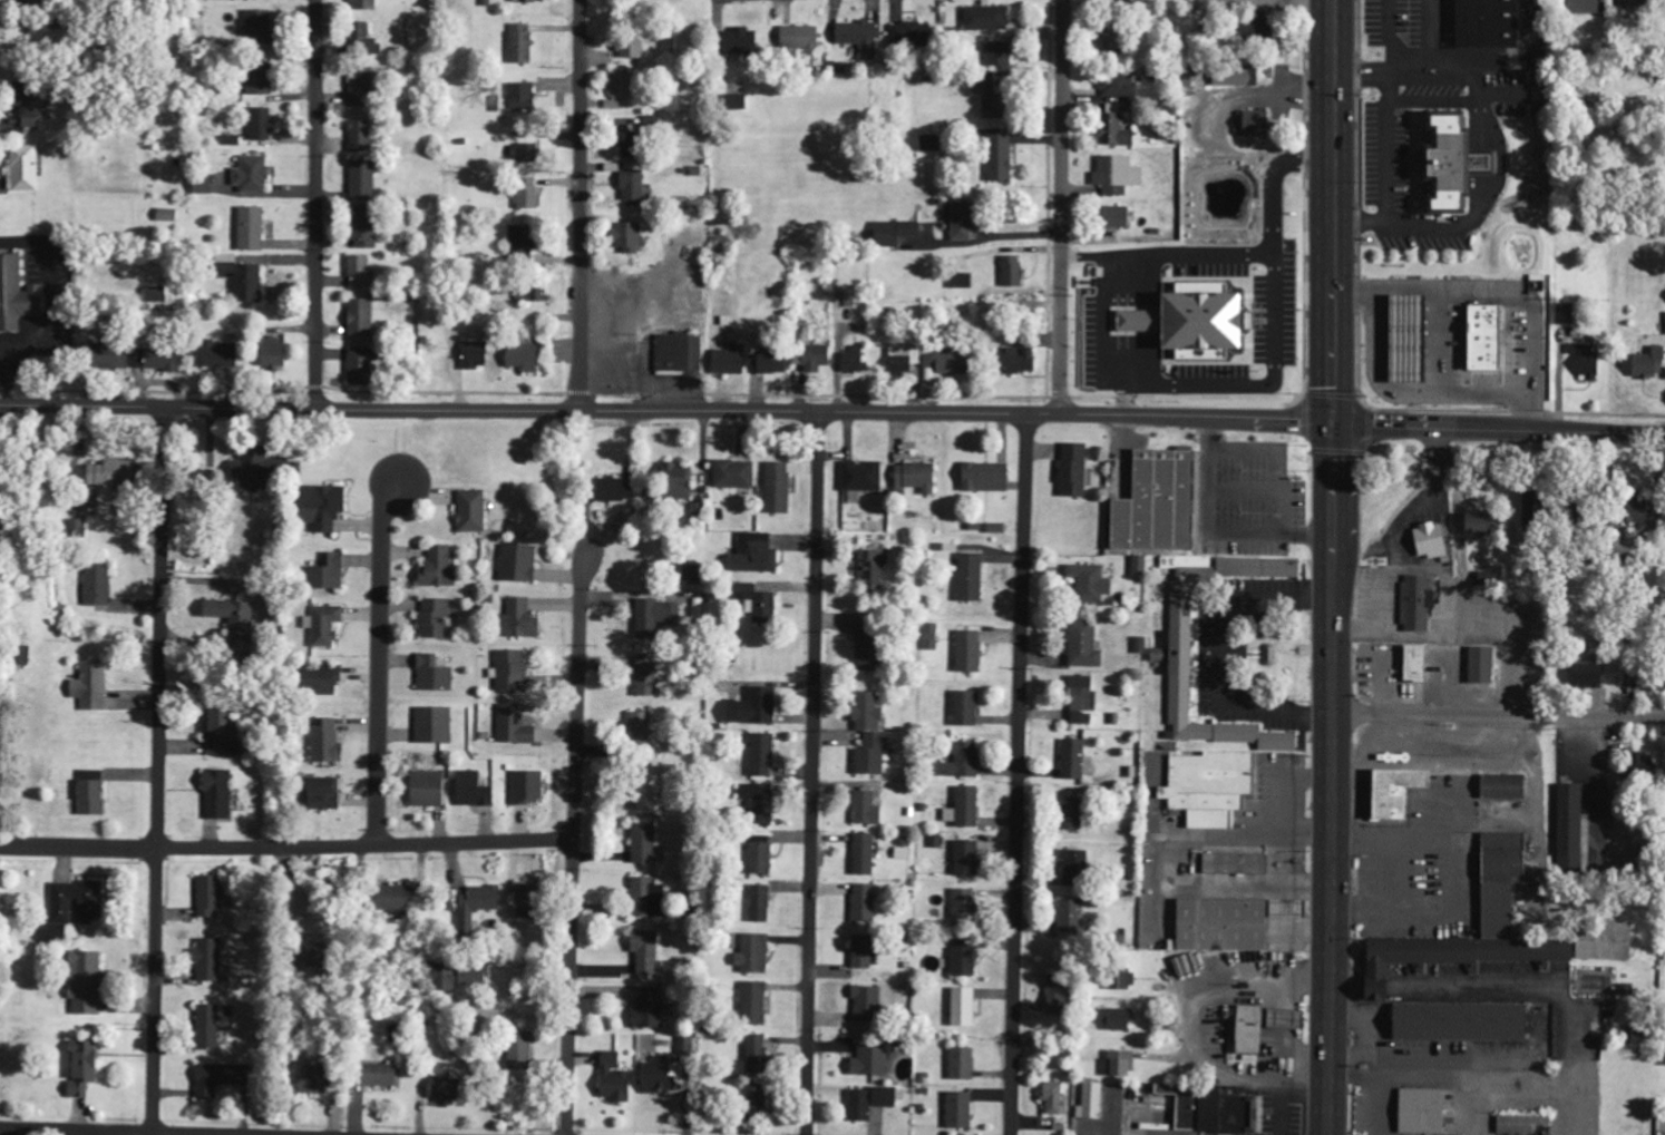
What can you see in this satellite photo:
building: (646, 0)
building: (1114, 0)
building: (527, 1)
building: (4, 3)
building: (1624, 3)
building: (366, 6)
building: (1579, 7)
building: (985, 19)
building: (260, 28)
building: (1249, 29)
building: (854, 31)
building: (913, 36)
building: (801, 37)
building: (366, 41)
building: (1110, 41)
building: (2, 45)
building: (522, 47)
building: (632, 50)
building: (997, 53)
building: (1240, 76)
building: (261, 84)
building: (1116, 85)
building: (626, 88)
building: (361, 90)
building: (986, 92)
building: (523, 99)
building: (739, 104)
building: (35, 105)
building: (1248, 124)
building: (262, 125)
building: (361, 137)
building: (927, 143)
building: (635, 147)
building: (996, 157)
building: (1444, 163)
building: (25, 169)
building: (253, 174)
building: (1116, 175)
building: (364, 180)
building: (635, 189)
building: (532, 198)
road: (314, 205)
road: (581, 206)
road: (1062, 207)
building: (168, 215)
building: (1113, 216)
building: (958, 221)
building: (368, 227)
building: (252, 228)
building: (889, 233)
building: (631, 237)
building: (520, 241)
building: (361, 271)
building: (1009, 271)
building: (244, 280)
building: (957, 281)
building: (18, 294)
building: (537, 294)
building: (157, 295)
building: (1561, 314)
building: (362, 317)
building: (1182, 321)
building: (1664, 322)
building: (1478, 337)
building: (1400, 339)
building: (277, 353)
building: (678, 353)
building: (107, 355)
building: (222, 355)
building: (476, 355)
building: (812, 358)
building: (158, 359)
building: (730, 360)
building: (899, 360)
building: (855, 361)
building: (1010, 361)
building: (1580, 361)
building: (939, 362)
building: (770, 364)
building: (1643, 364)
building: (362, 366)
road: (665, 412)
traffic signals: (1332, 425)
road: (1428, 429)
road: (1595, 438)
road: (1439, 449)
building: (1070, 470)
building: (264, 471)
building: (115, 474)
building: (736, 474)
building: (863, 477)
building: (911, 477)
building: (981, 477)
building: (678, 481)
road: (1411, 486)
building: (779, 488)
building: (619, 490)
building: (1152, 503)
building: (325, 507)
building: (475, 512)
building: (1628, 513)
building: (1469, 524)
building: (77, 529)
building: (1425, 540)
building: (763, 555)
building: (1136, 562)
building: (519, 564)
road: (1332, 567)
building: (439, 568)
building: (876, 569)
building: (329, 573)
building: (966, 577)
building: (1481, 578)
building: (1088, 584)
building: (98, 585)
building: (758, 603)
building: (1413, 603)
building: (436, 618)
building: (658, 618)
building: (523, 619)
building: (236, 623)
building: (327, 625)
building: (1177, 628)
building: (1080, 644)
building: (869, 645)
building: (964, 652)
building: (1153, 655)
building: (1411, 664)
road: (380, 665)
building: (1477, 666)
building: (510, 671)
building: (435, 675)
building: (1585, 675)
building: (97, 676)
building: (647, 676)
building: (325, 679)
building: (1657, 684)
building: (1077, 701)
building: (756, 708)
building: (961, 708)
road: (1498, 715)
building: (435, 725)
building: (515, 725)
building: (642, 727)
building: (222, 734)
building: (873, 735)
building: (327, 742)
building: (763, 756)
building: (1070, 760)
building: (958, 761)
building: (1634, 762)
road: (158, 771)
road: (814, 774)
road: (1020, 774)
building: (528, 787)
building: (1208, 787)
building: (1500, 787)
building: (430, 790)
building: (475, 791)
building: (93, 793)
building: (1391, 793)
building: (327, 794)
building: (220, 795)
building: (649, 799)
building: (759, 803)
building: (961, 808)
building: (868, 810)
building: (1068, 814)
building: (1566, 828)
building: (645, 843)
road: (572, 844)
road: (286, 850)
building: (865, 854)
building: (762, 855)
building: (963, 858)
building: (1071, 862)
building: (1230, 864)
building: (1497, 882)
building: (212, 897)
building: (530, 898)
building: (398, 899)
building: (649, 899)
building: (865, 902)
building: (79, 903)
building: (760, 904)
building: (961, 904)
building: (477, 907)
building: (1069, 917)
building: (1225, 923)
building: (56, 935)
building: (1601, 941)
building: (647, 952)
building: (861, 953)
building: (754, 955)
building: (1445, 956)
building: (960, 958)
building: (212, 961)
building: (463, 977)
building: (1117, 979)
building: (85, 985)
building: (1053, 994)
building: (754, 1004)
building: (868, 1005)
building: (958, 1007)
building: (650, 1009)
building: (1112, 1019)
building: (1278, 1019)
building: (1455, 1023)
building: (210, 1027)
building: (1244, 1030)
building: (1664, 1038)
building: (757, 1055)
building: (1662, 1059)
building: (517, 1060)
building: (873, 1061)
building: (1118, 1063)
building: (957, 1064)
building: (86, 1068)
building: (665, 1069)
building: (384, 1076)
building: (222, 1078)
building: (321, 1079)
building: (616, 1079)
building: (447, 1089)
building: (759, 1097)
building: (1051, 1098)
building: (1088, 1102)
building: (870, 1103)
building: (955, 1110)
building: (1206, 1110)
building: (1416, 1112)
building: (1518, 1125)
road: (77, 1132)

